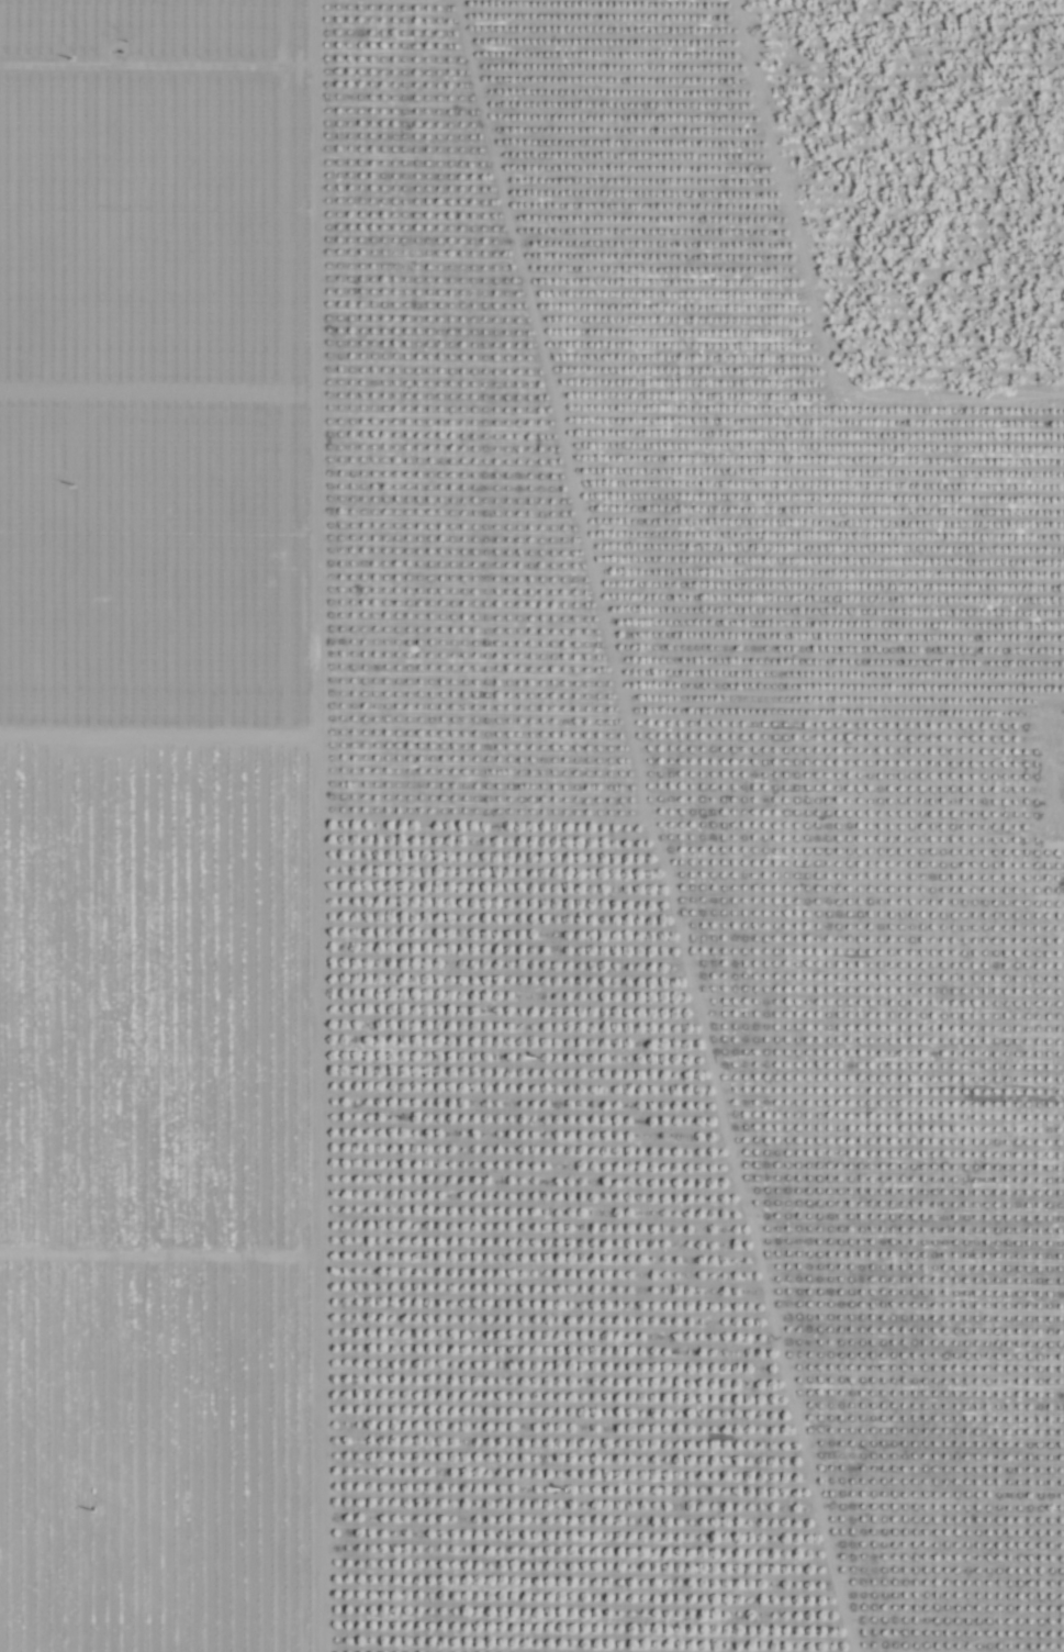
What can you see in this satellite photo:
crop: (531, 826)

